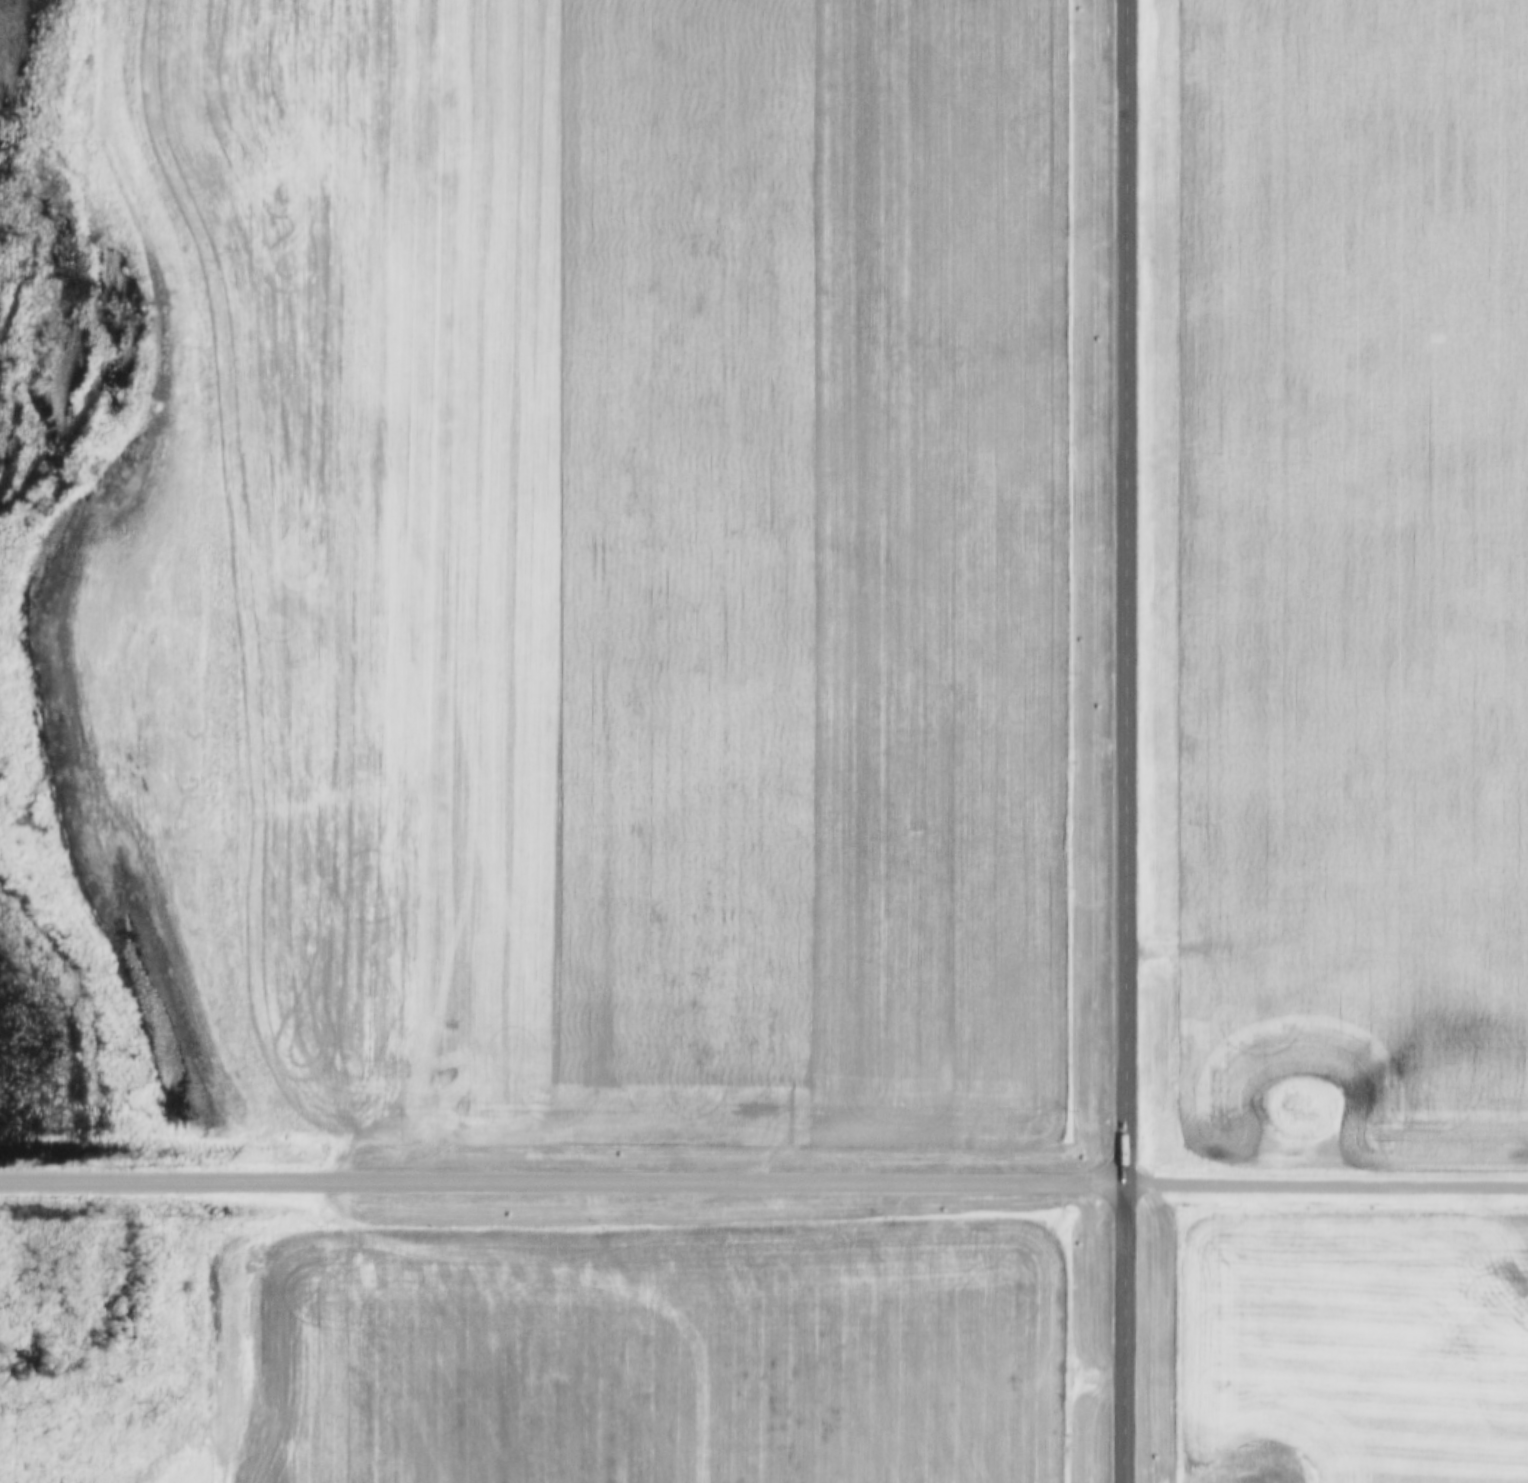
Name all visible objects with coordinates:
road: (1125, 741)
road: (764, 1184)

